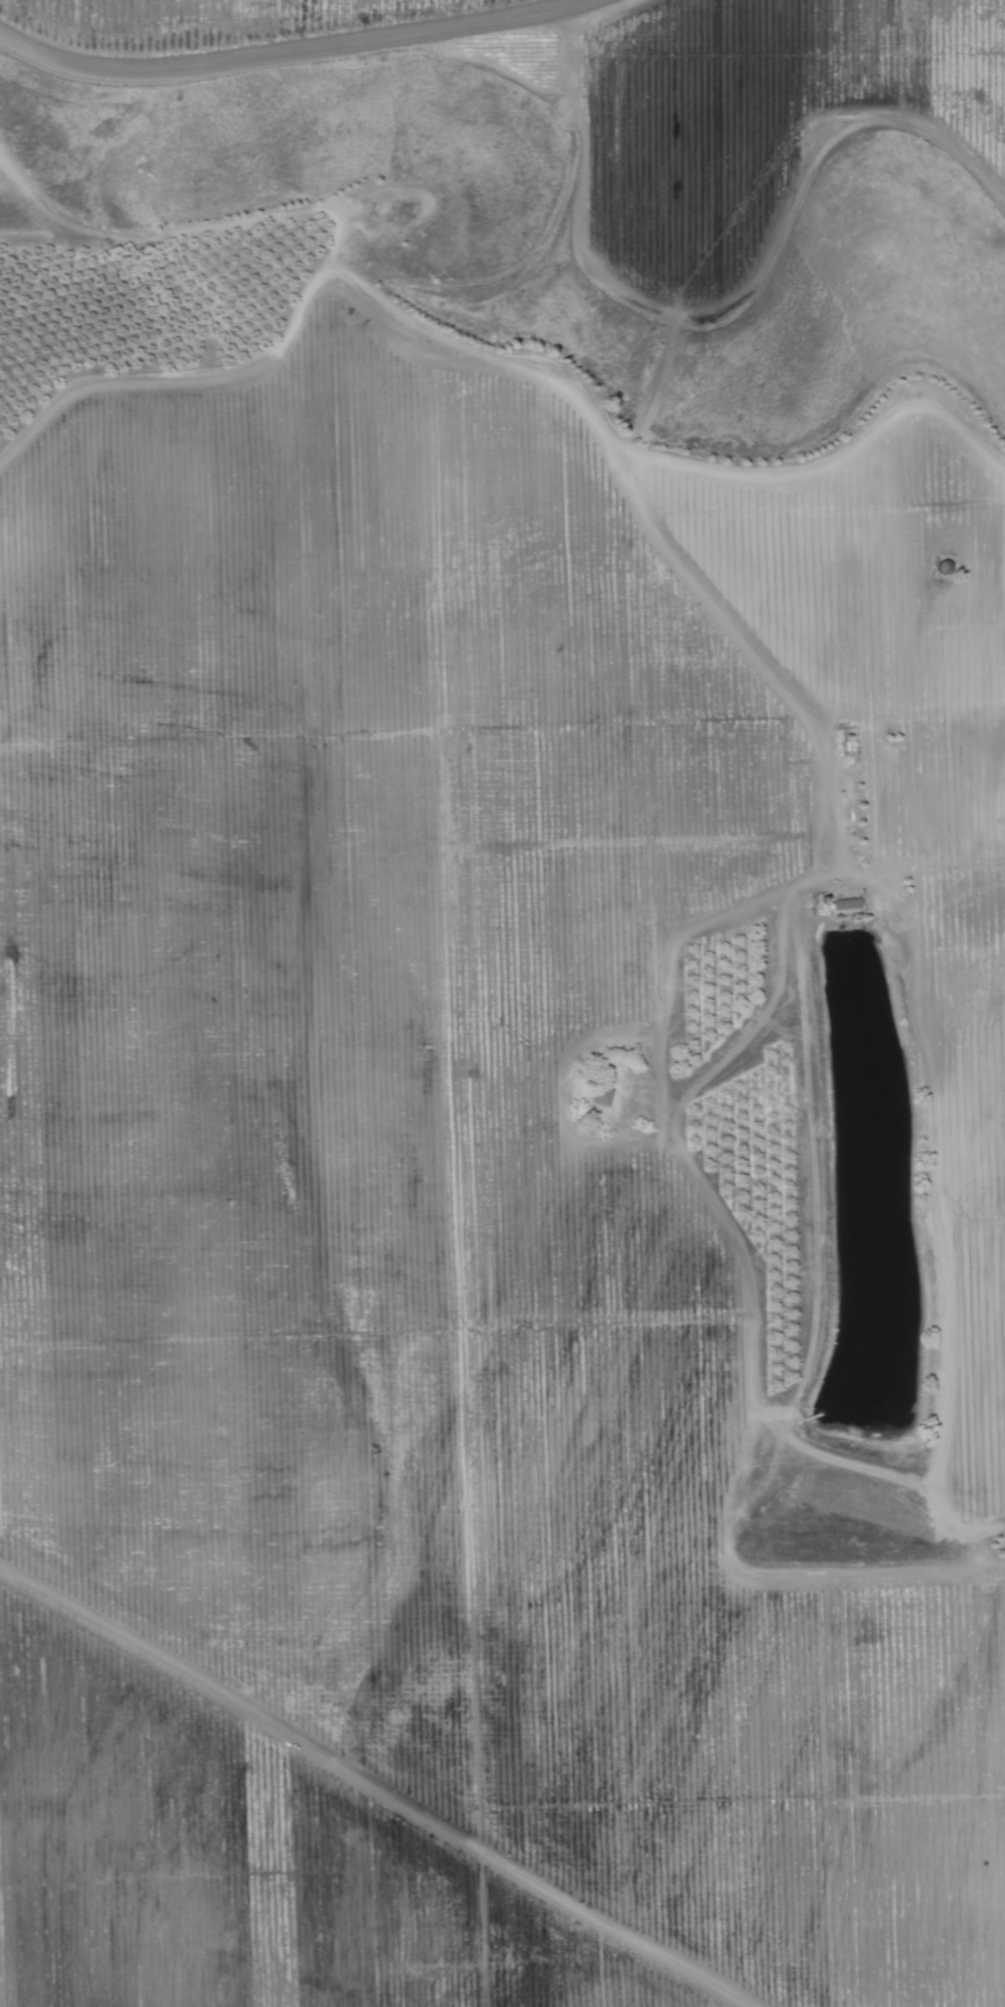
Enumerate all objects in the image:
road: (296, 49)
building: (599, 1097)

